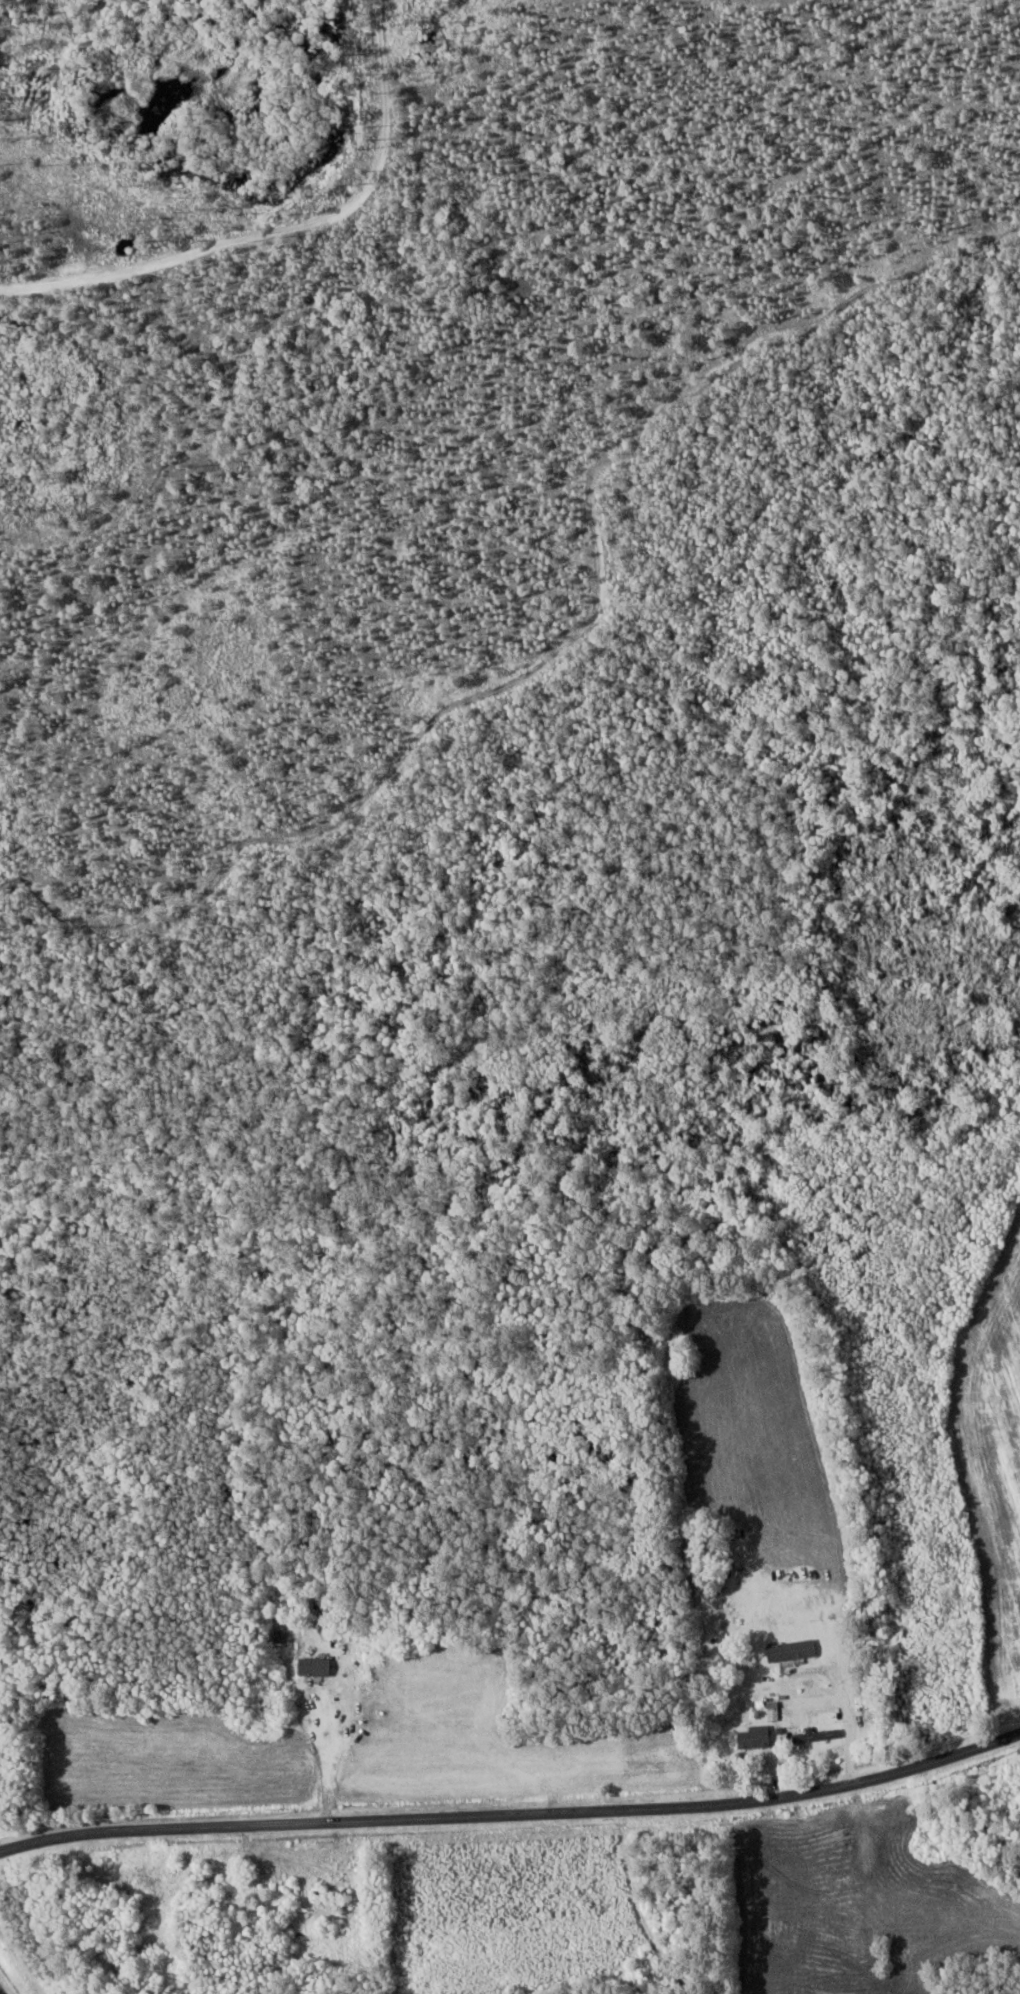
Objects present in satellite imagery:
building: (283, 1637)
building: (791, 1651)
building: (316, 1667)
road: (851, 1725)
building: (817, 1736)
building: (756, 1738)
road: (325, 1756)
road: (775, 1773)
road: (513, 1812)
building: (330, 1892)
road: (244, 1908)
road: (672, 1928)

